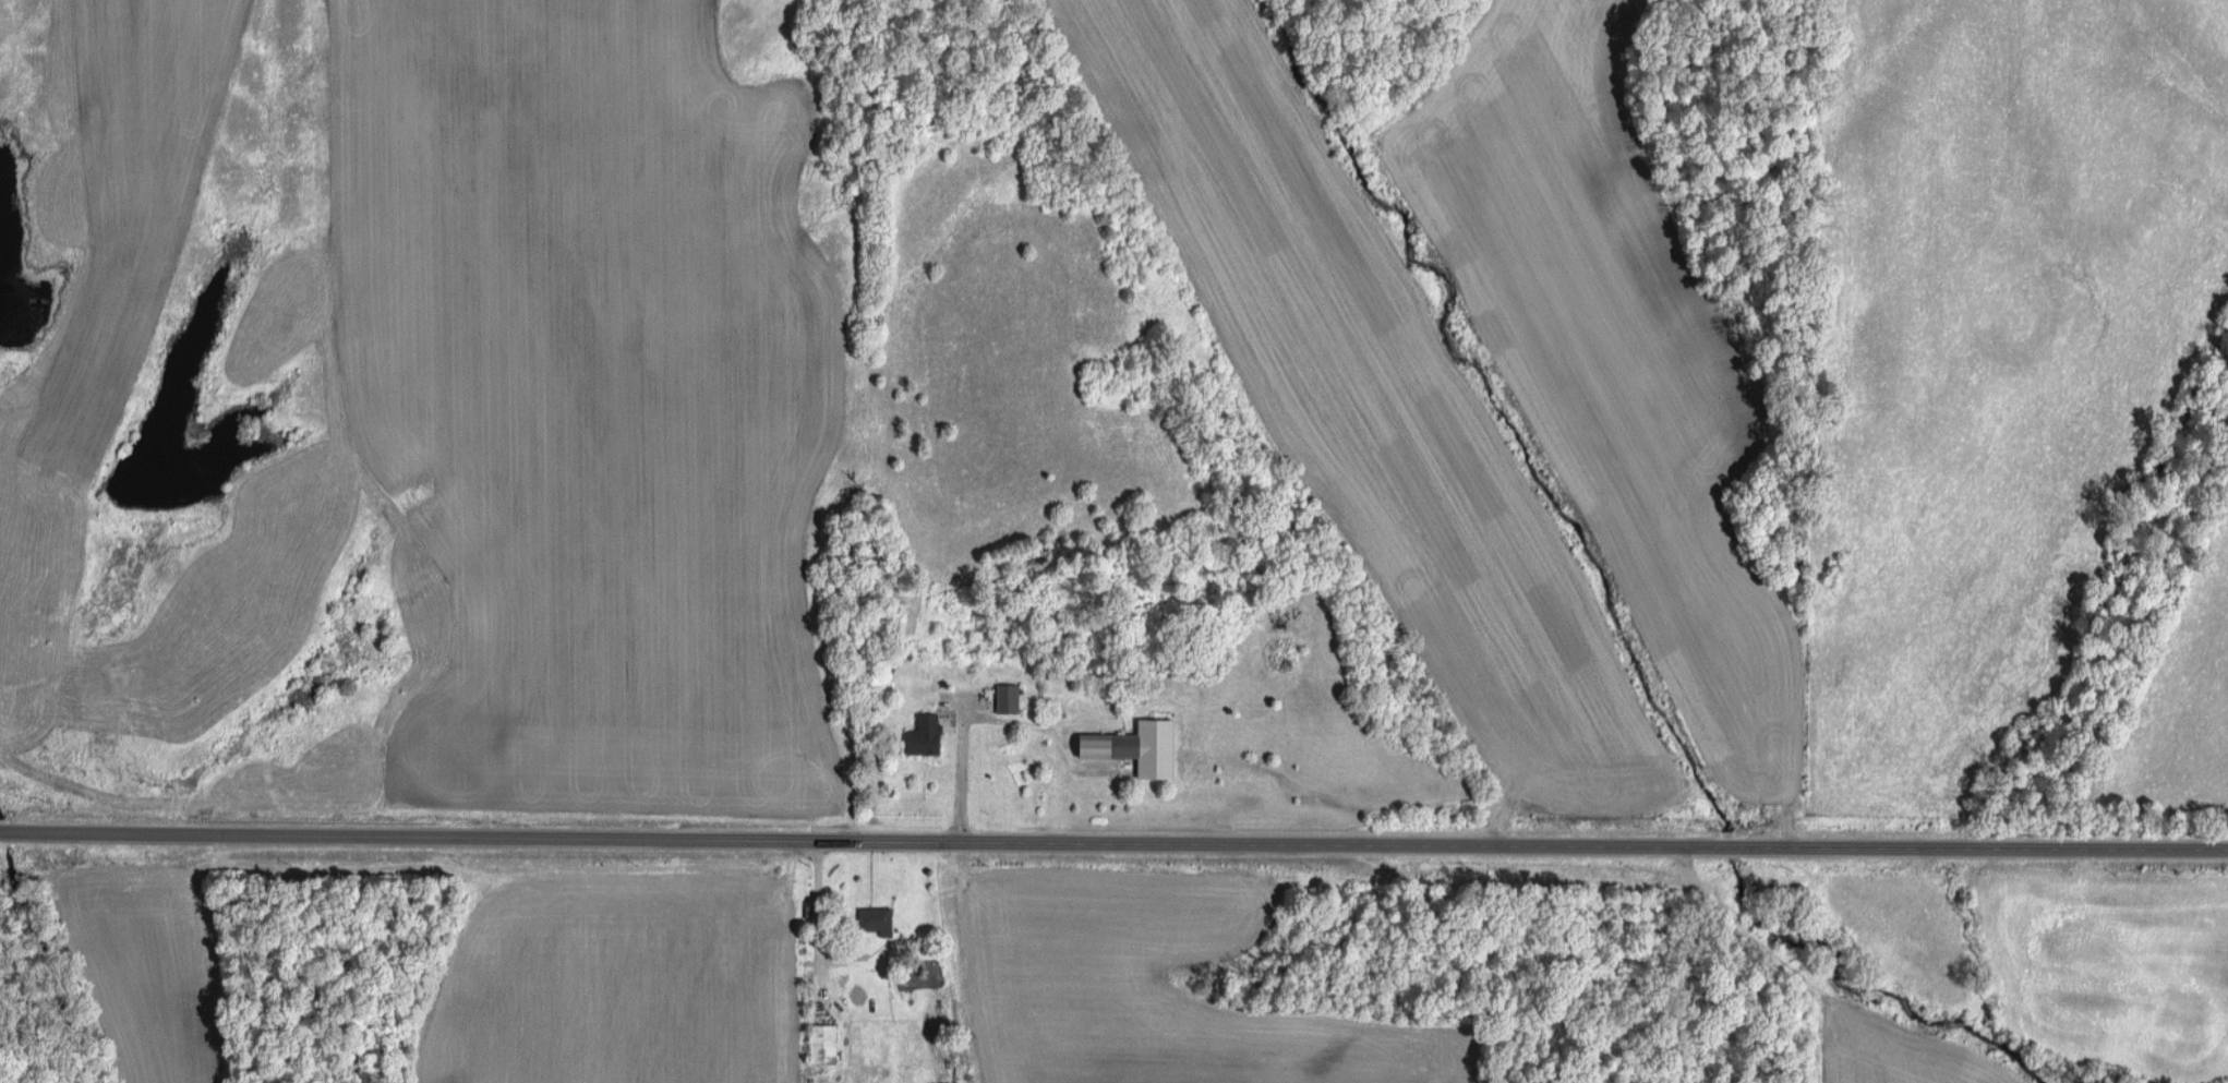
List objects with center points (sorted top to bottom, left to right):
building: (1009, 697)
building: (928, 734)
building: (1144, 747)
road: (1113, 844)
building: (878, 919)

